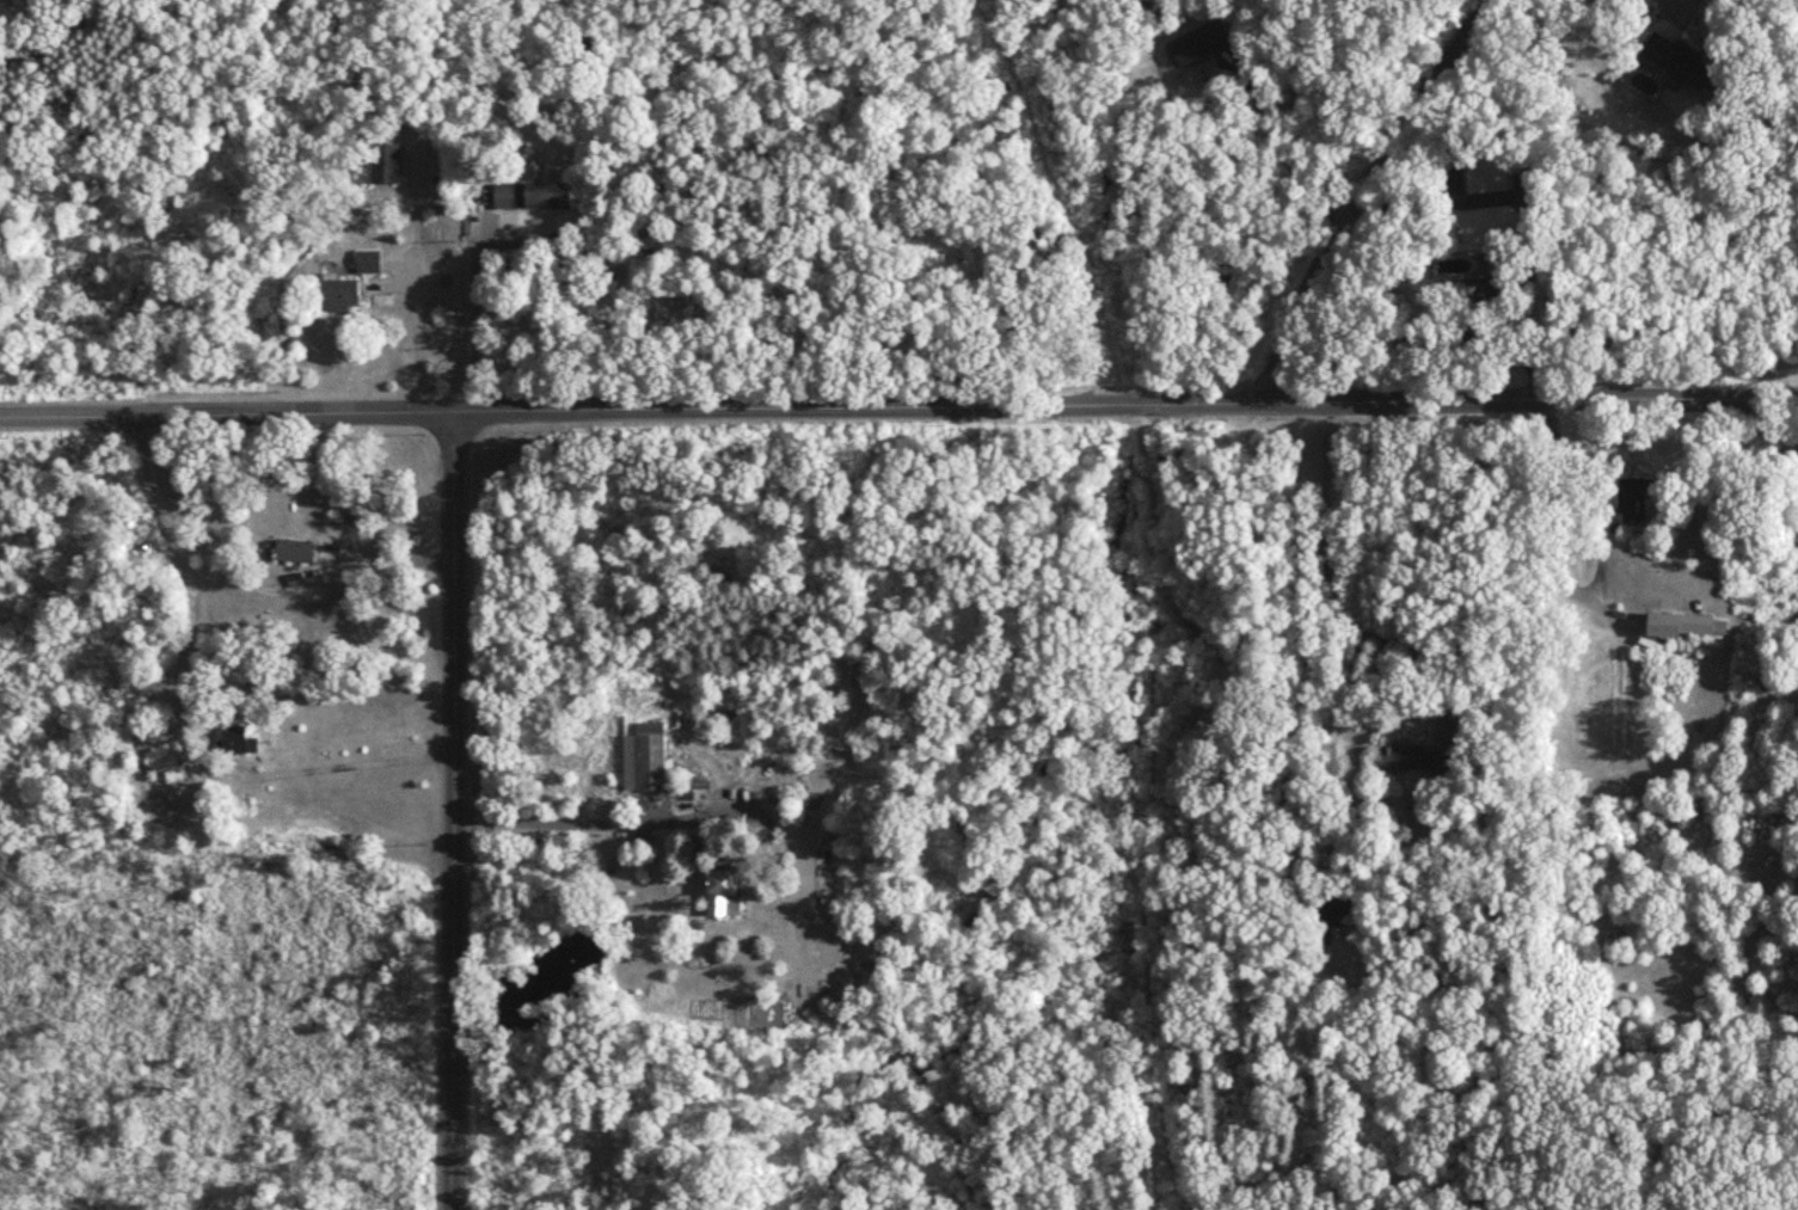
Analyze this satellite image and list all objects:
building: (1610, 5)
road: (1675, 5)
building: (1195, 44)
building: (1675, 65)
road: (1285, 156)
building: (392, 165)
building: (1484, 176)
road: (1375, 196)
building: (538, 197)
building: (372, 263)
road: (412, 283)
building: (1465, 289)
building: (344, 296)
road: (473, 313)
road: (898, 409)
building: (1631, 500)
building: (295, 552)
road: (288, 577)
road: (1333, 578)
building: (1682, 627)
road: (170, 733)
building: (240, 741)
building: (1398, 758)
building: (642, 762)
building: (168, 766)
road: (454, 811)
road: (570, 821)
building: (719, 893)
building: (1332, 911)

